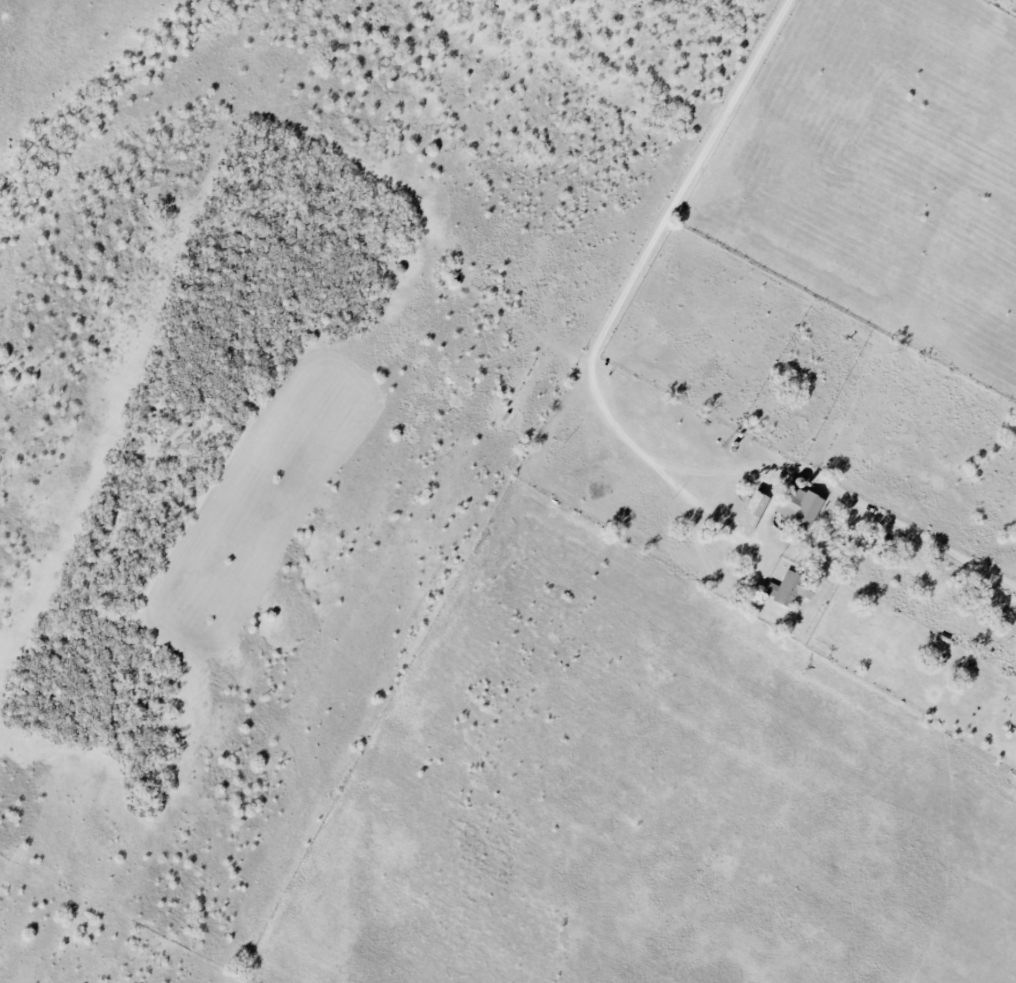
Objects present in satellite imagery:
road: (608, 412)
road: (705, 507)
building: (800, 507)
building: (781, 589)

